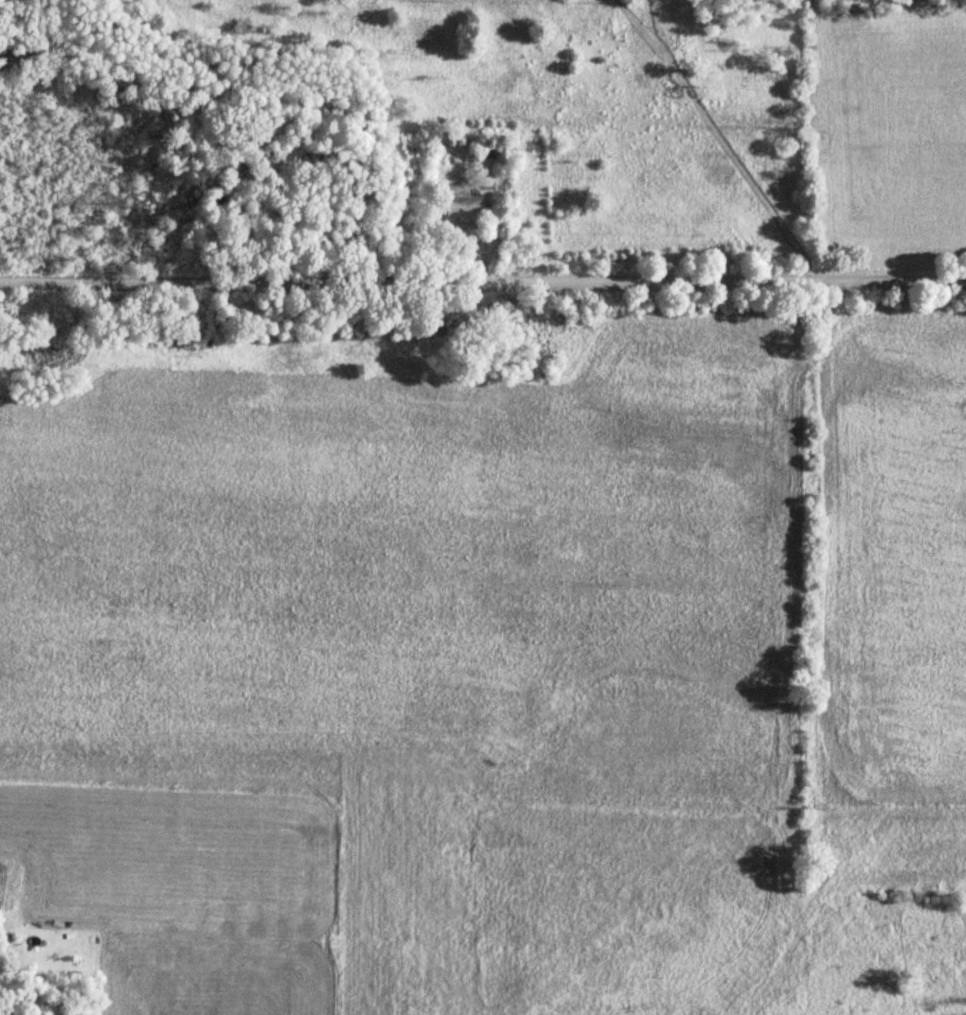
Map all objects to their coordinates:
building: (468, 206)
road: (483, 282)

